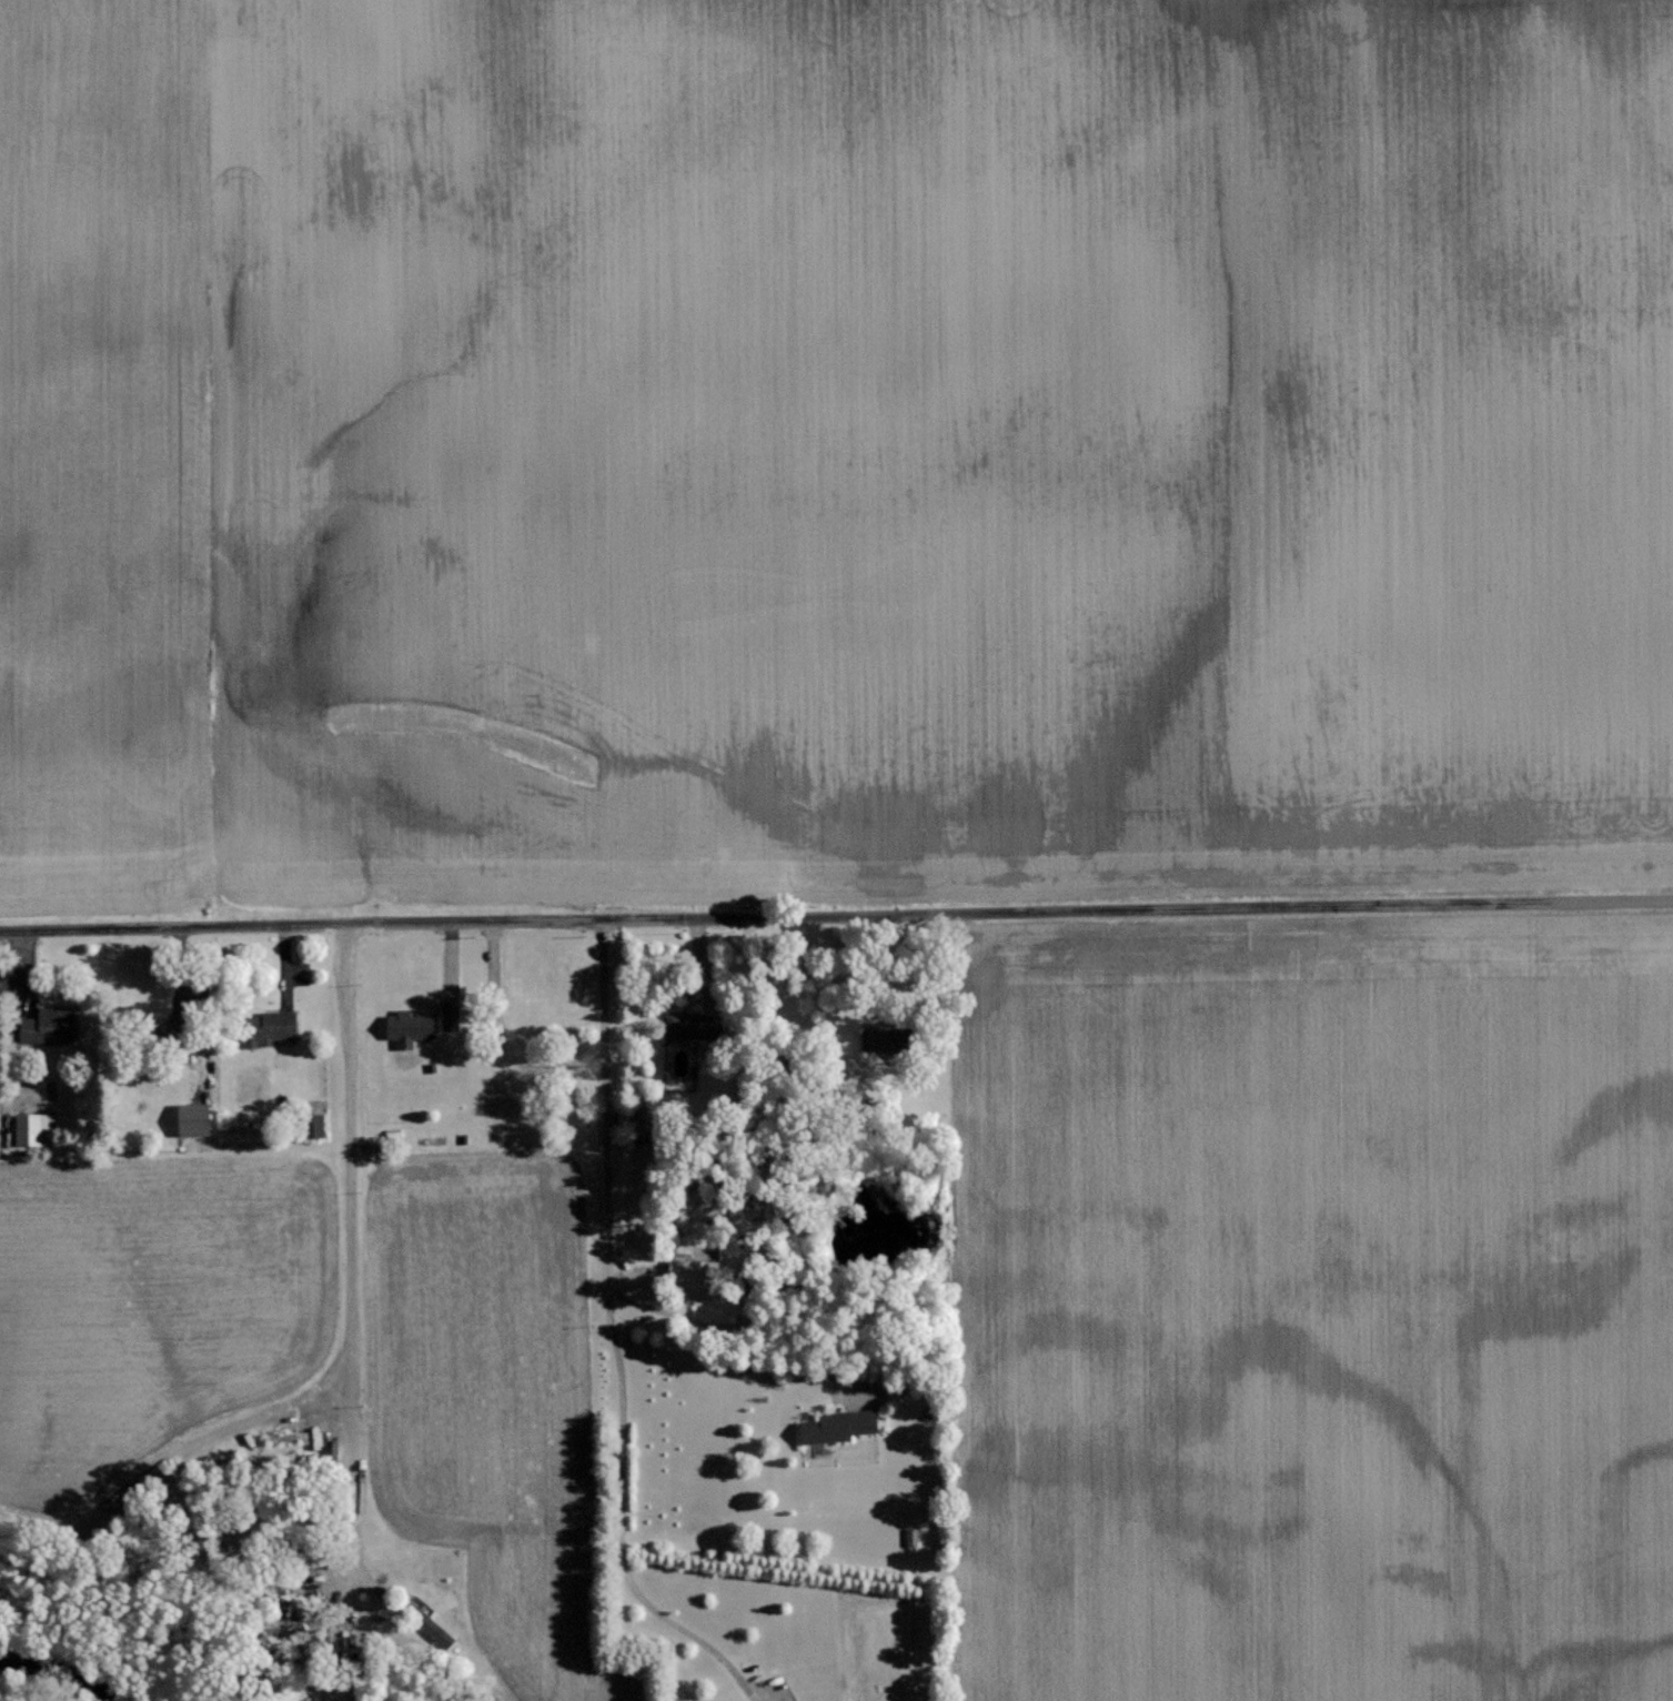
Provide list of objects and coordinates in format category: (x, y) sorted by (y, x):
road: (836, 915)
building: (447, 1015)
building: (44, 1026)
building: (683, 1026)
building: (265, 1027)
building: (404, 1027)
building: (867, 1039)
building: (190, 1118)
building: (309, 1125)
building: (32, 1129)
road: (155, 1154)
road: (350, 1241)
building: (687, 1271)
road: (613, 1338)
building: (834, 1427)
building: (282, 1442)
building: (426, 1623)

